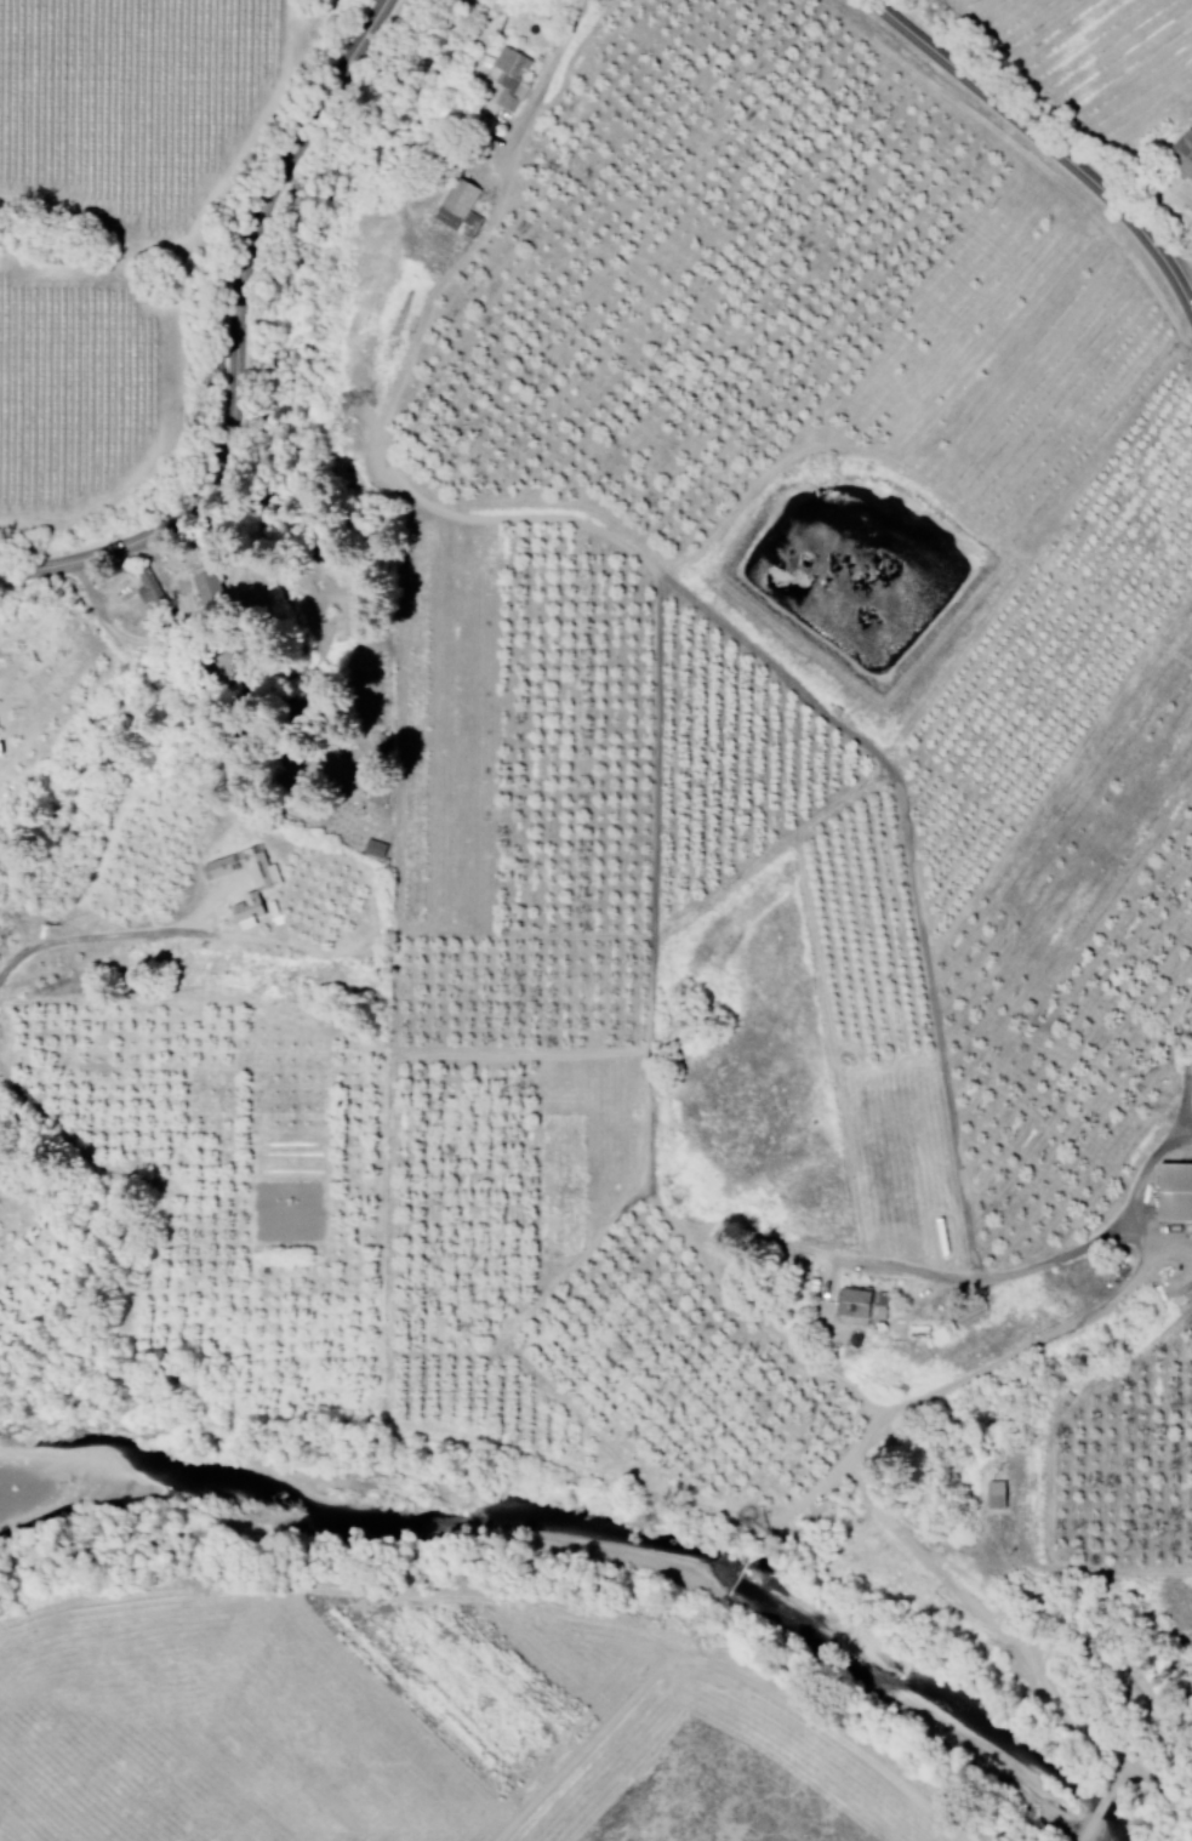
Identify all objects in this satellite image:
building: (504, 78)
road: (1046, 133)
building: (1179, 152)
building: (455, 207)
road: (236, 340)
building: (203, 583)
building: (143, 586)
building: (371, 849)
building: (1169, 1192)
building: (854, 1304)
river: (566, 1574)

